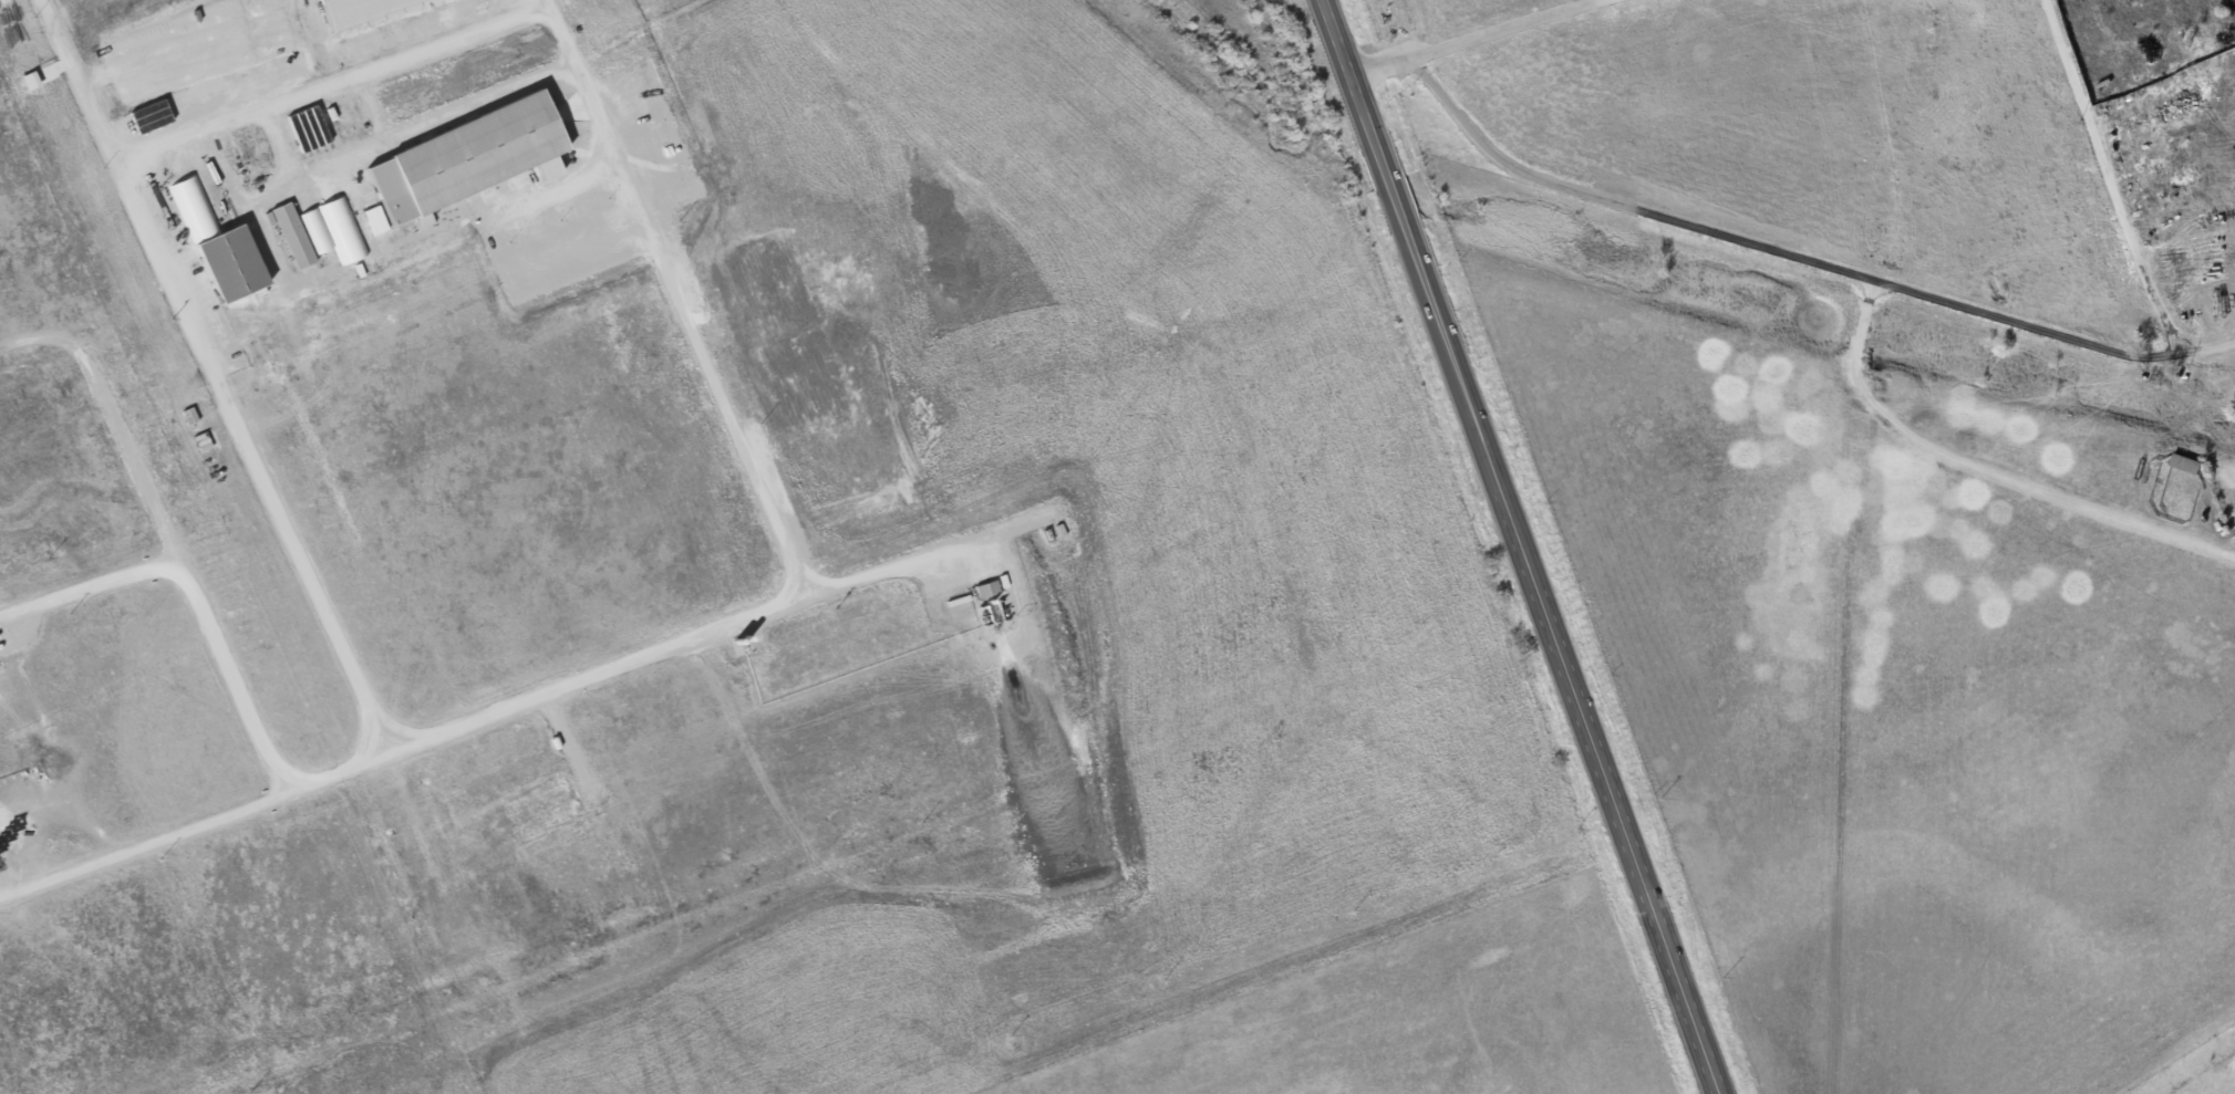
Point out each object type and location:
building: (350, 9)
road: (1470, 37)
road: (1351, 76)
road: (328, 80)
road: (477, 97)
building: (148, 115)
road: (277, 139)
building: (457, 160)
road: (299, 173)
road: (545, 176)
road: (2115, 204)
building: (317, 228)
building: (290, 236)
building: (214, 243)
road: (1765, 246)
building: (382, 252)
road: (672, 298)
building: (2184, 465)
road: (1982, 468)
building: (984, 588)
road: (1550, 623)
road: (353, 681)

